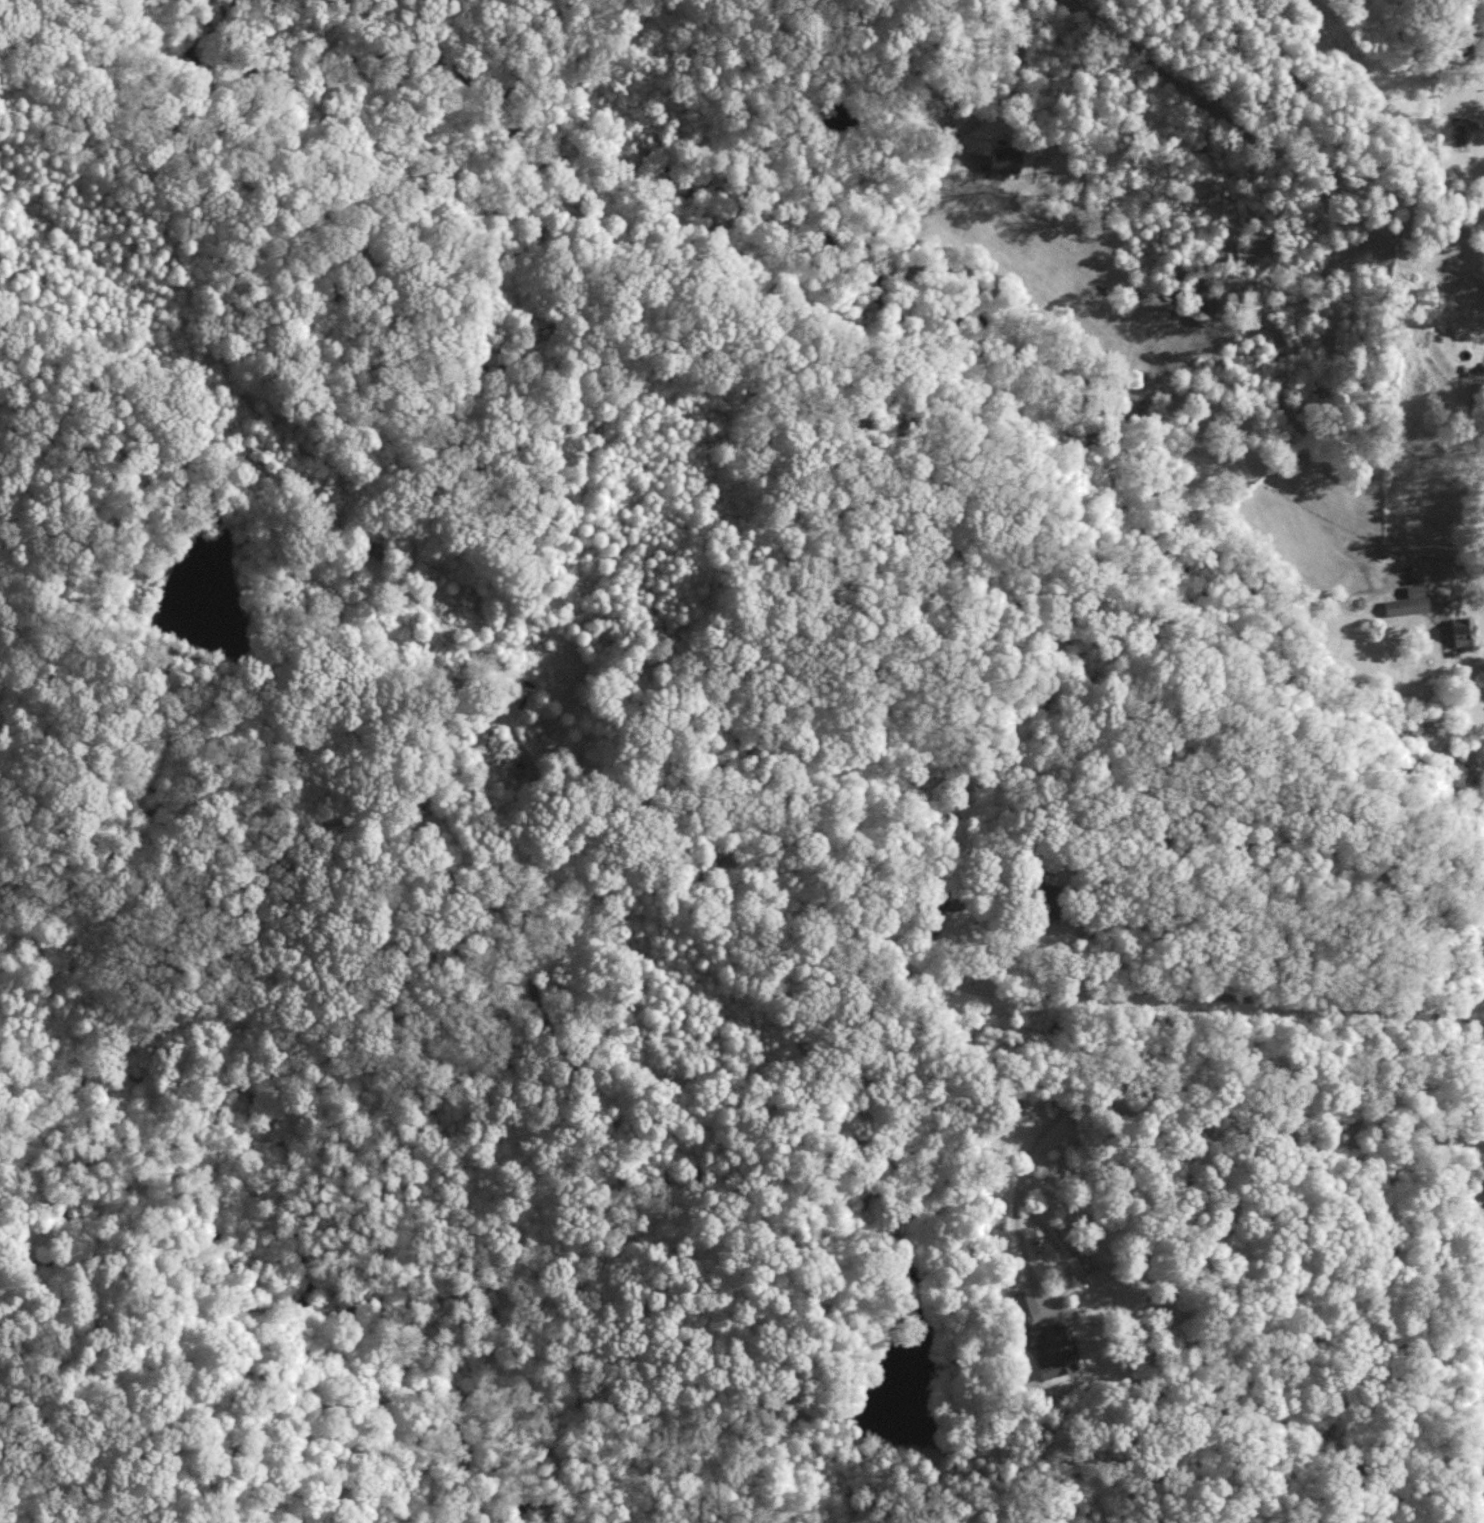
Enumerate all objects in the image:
road: (993, 96)
building: (1008, 159)
road: (1445, 379)
road: (1451, 566)
building: (1403, 602)
building: (1456, 630)
road: (1060, 954)
road: (840, 975)
road: (1044, 1128)
road: (1337, 1150)
road: (1033, 1277)
building: (1023, 1300)
building: (1048, 1349)

